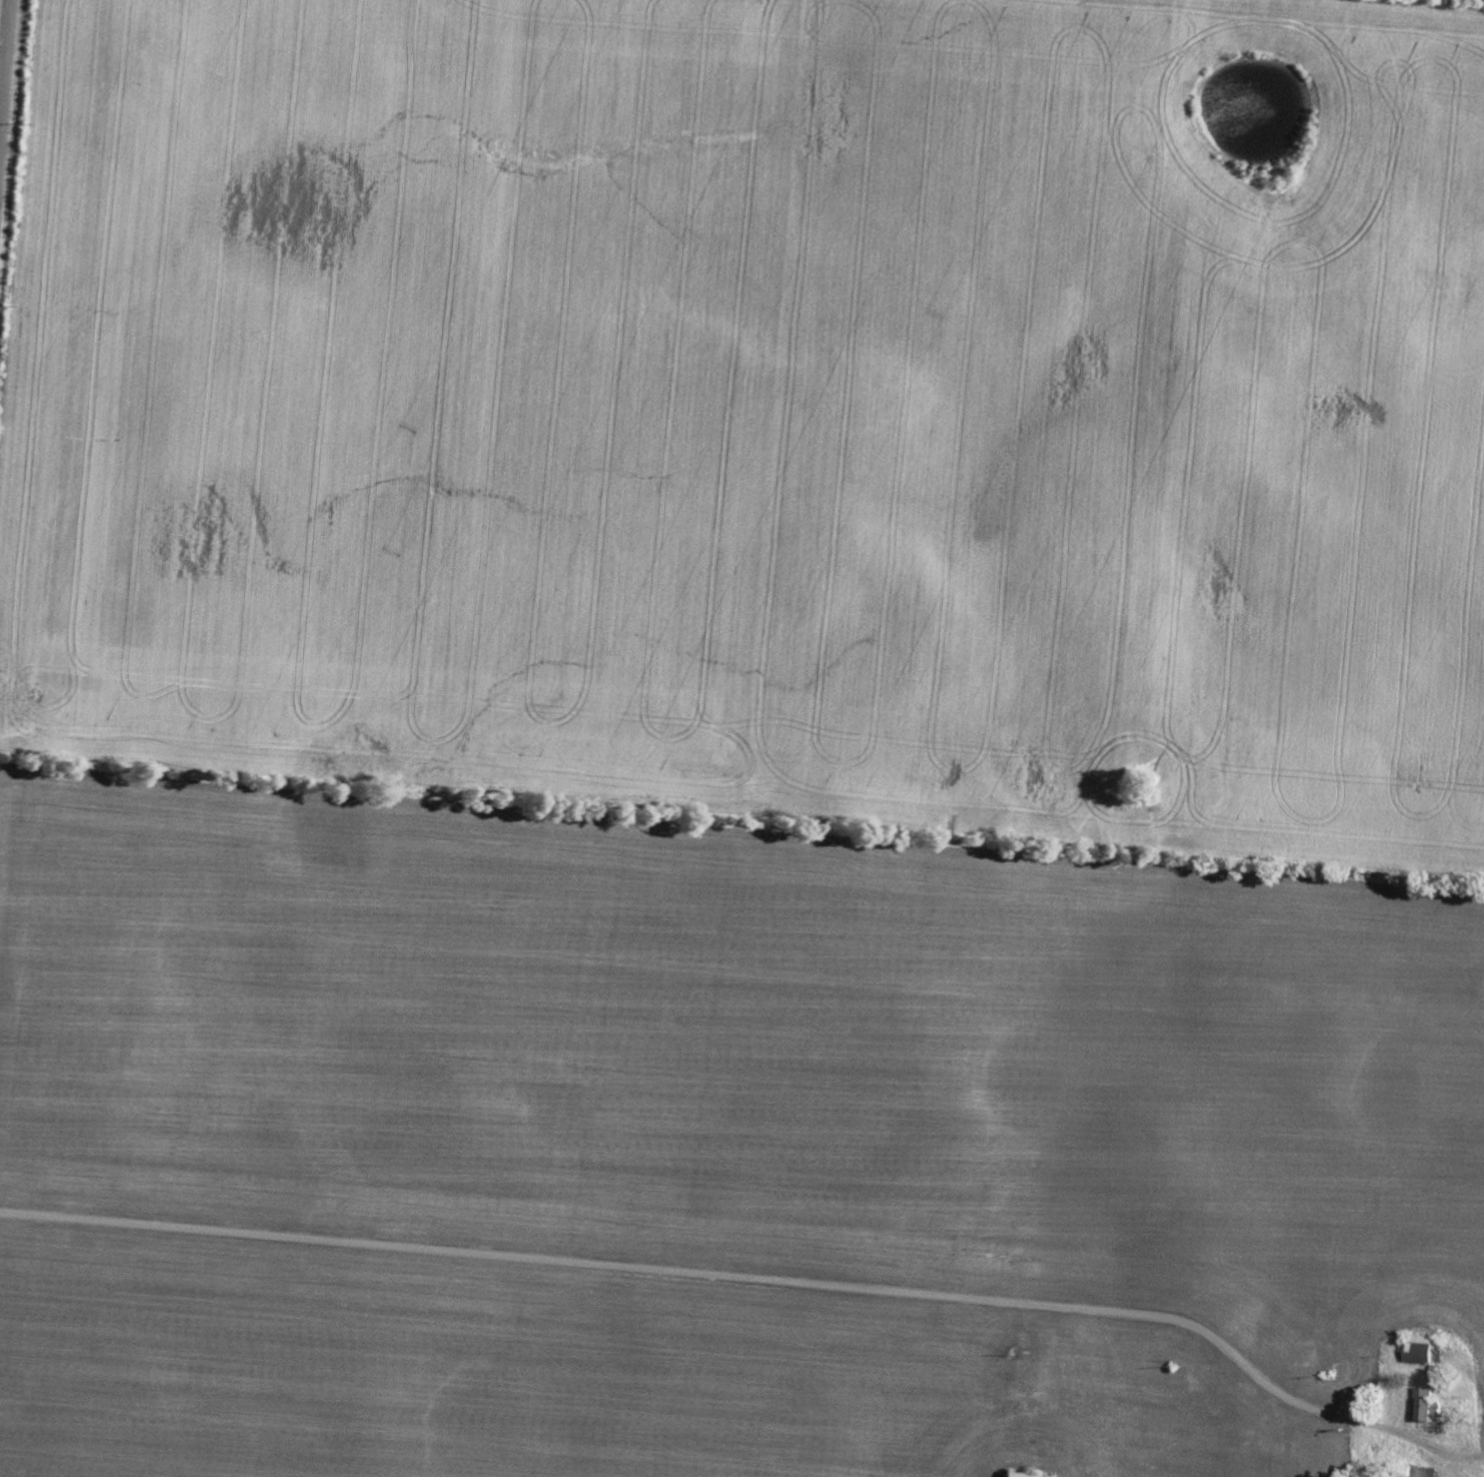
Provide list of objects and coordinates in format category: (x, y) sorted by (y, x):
road: (6, 76)
road: (765, 1260)
building: (1429, 1403)
building: (1031, 1475)

